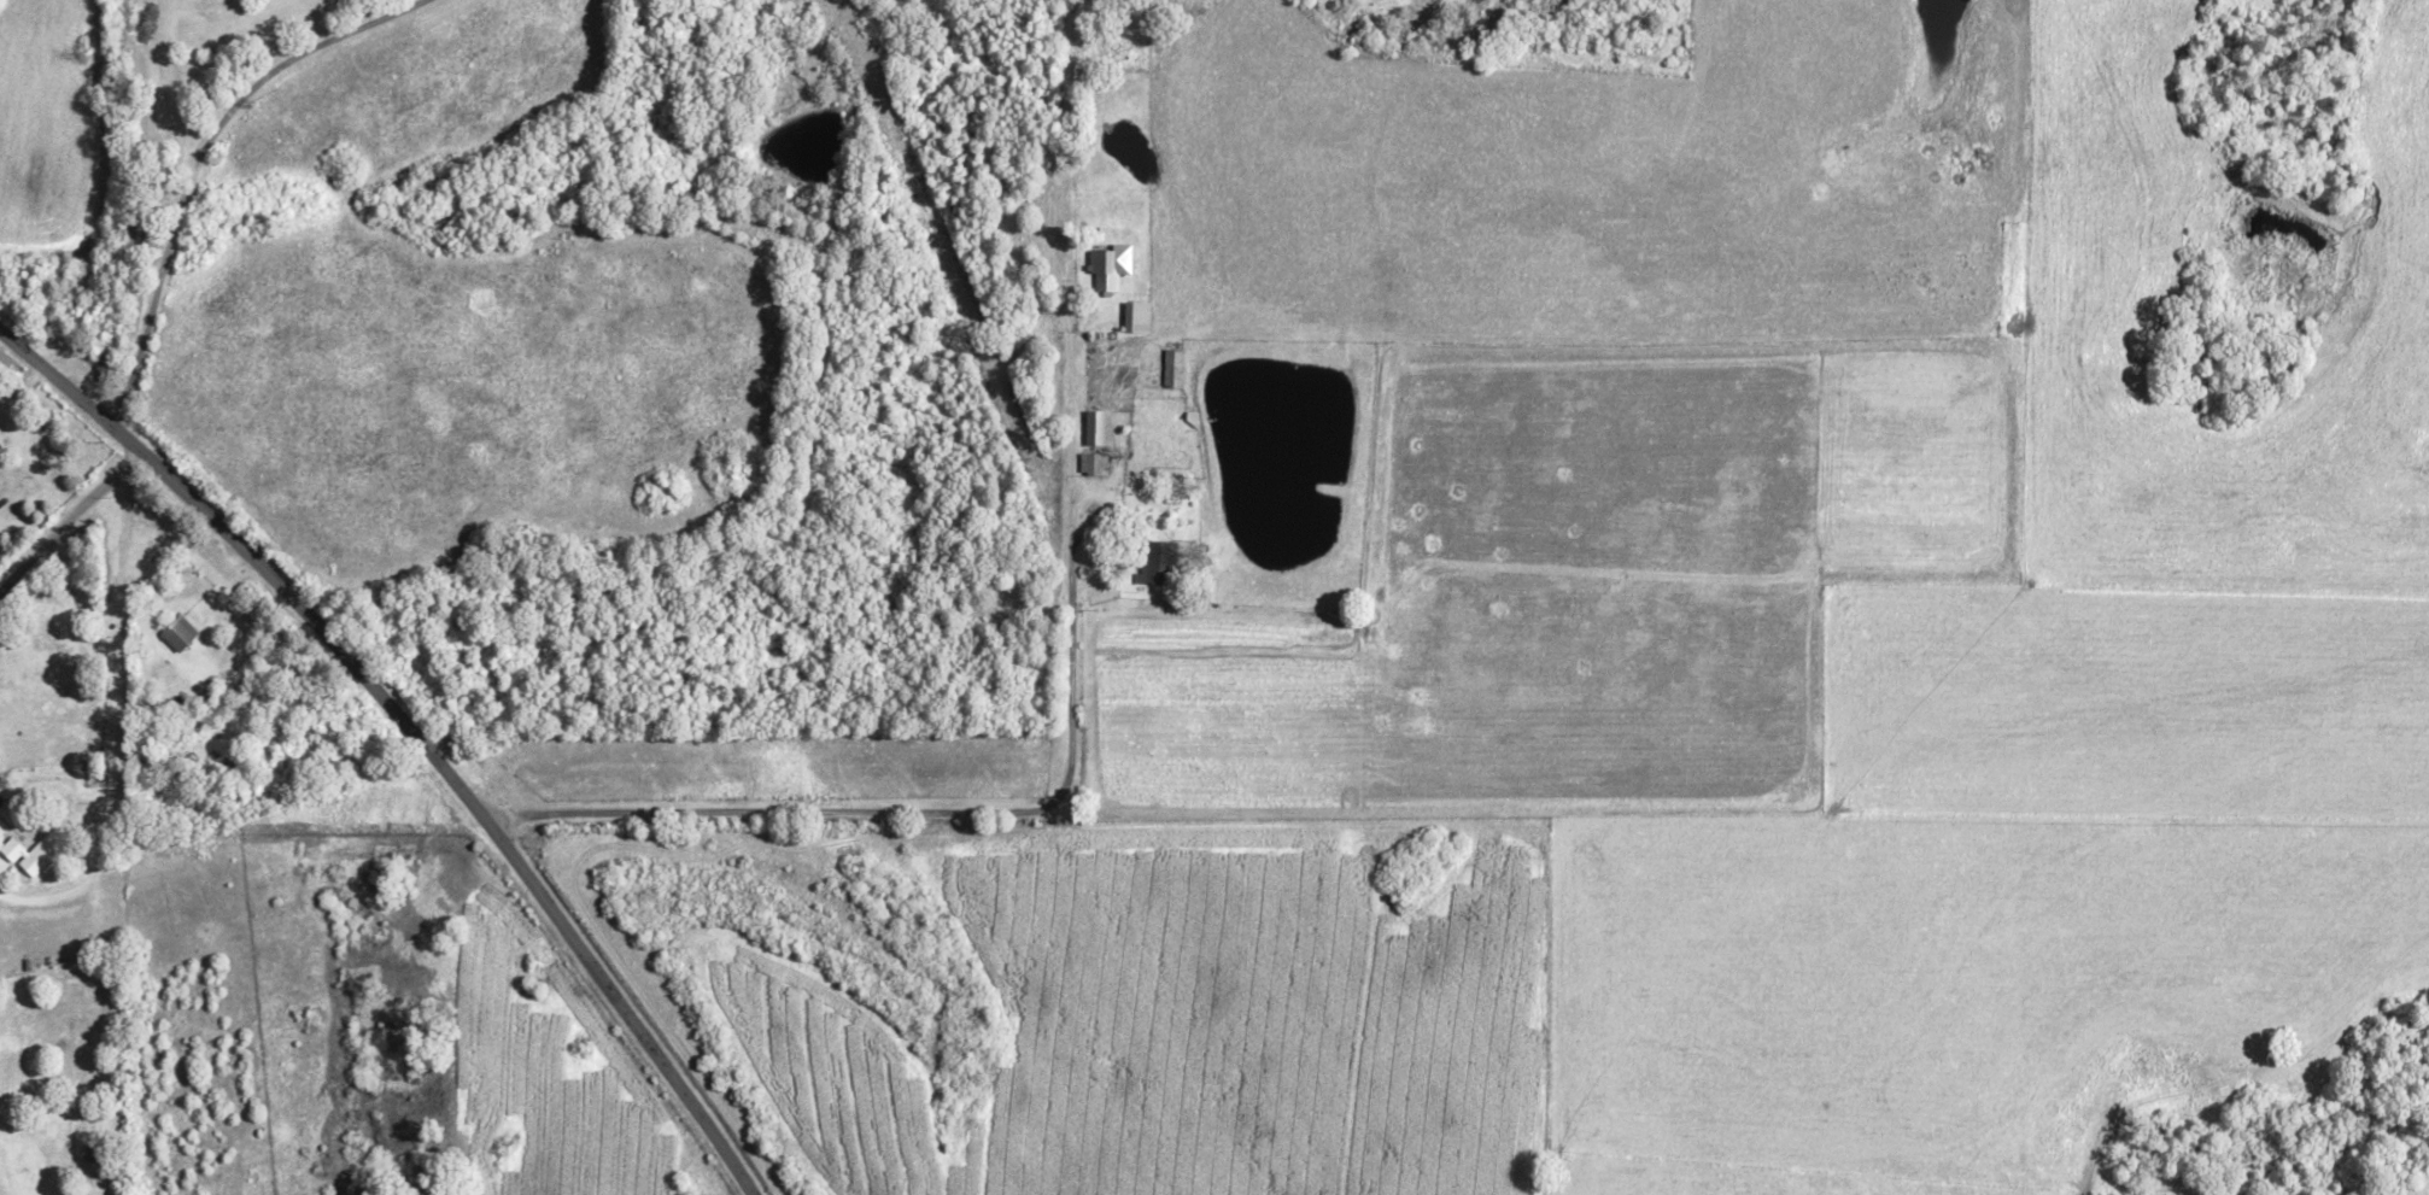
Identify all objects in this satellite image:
road: (206, 154)
building: (1106, 266)
building: (1131, 317)
building: (1095, 428)
building: (1090, 464)
road: (69, 522)
building: (1154, 563)
building: (182, 632)
road: (411, 732)
road: (921, 812)
building: (17, 848)
building: (49, 849)

